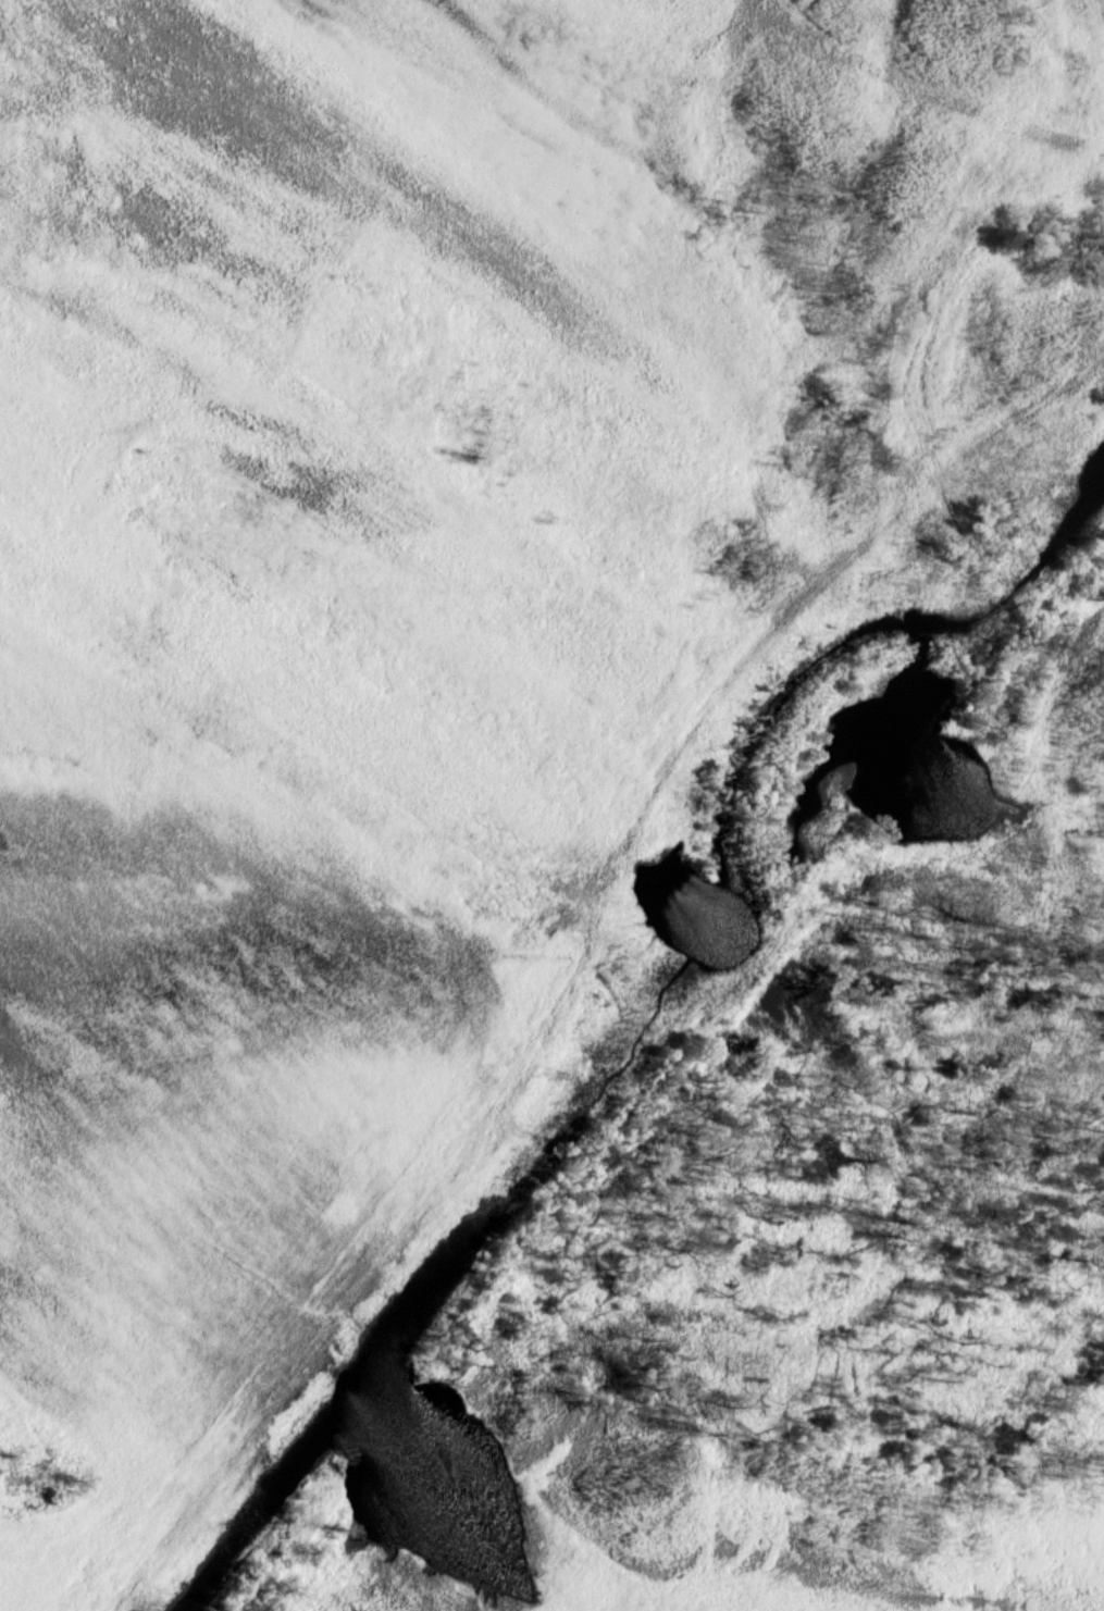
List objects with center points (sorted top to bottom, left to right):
road: (1029, 748)
road: (661, 1452)

